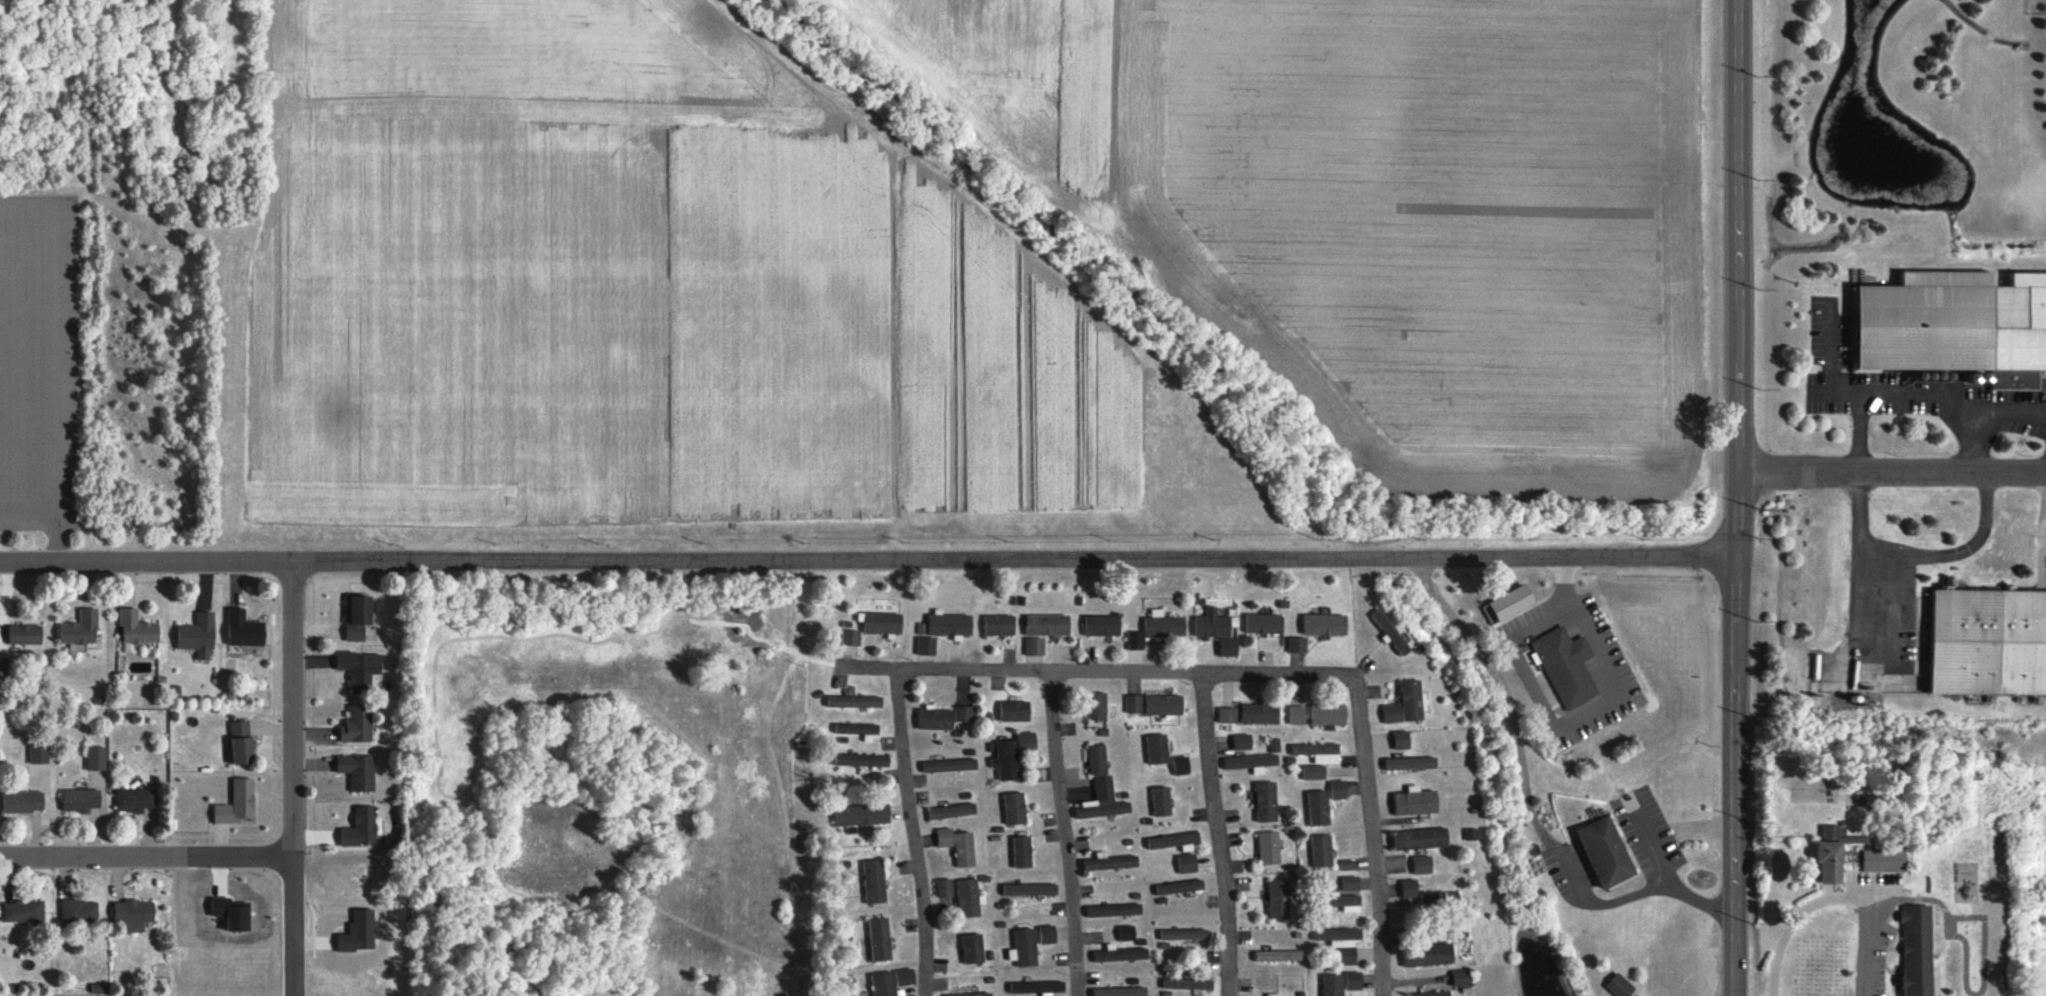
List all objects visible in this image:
building: (1952, 331)
road: (1891, 472)
road: (1737, 498)
road: (867, 560)
building: (1497, 610)
building: (359, 616)
building: (884, 622)
building: (1263, 623)
building: (951, 624)
building: (1163, 624)
building: (1326, 624)
building: (1000, 625)
building: (1048, 625)
building: (1103, 625)
building: (81, 628)
building: (246, 629)
building: (138, 630)
building: (1216, 630)
building: (1310, 630)
building: (1390, 633)
building: (27, 634)
building: (199, 635)
building: (851, 637)
building: (1135, 640)
building: (1298, 644)
building: (926, 645)
building: (1035, 646)
building: (1982, 650)
building: (1568, 665)
building: (361, 668)
road: (1131, 672)
building: (1412, 700)
building: (857, 701)
building: (1134, 703)
building: (1165, 704)
building: (1098, 705)
building: (1014, 711)
building: (964, 713)
building: (1261, 713)
building: (1393, 713)
building: (1298, 714)
building: (1329, 714)
building: (1227, 715)
building: (935, 718)
building: (359, 724)
building: (857, 728)
building: (1402, 739)
building: (1027, 740)
building: (1242, 741)
building: (244, 743)
building: (1274, 745)
building: (1158, 748)
building: (40, 754)
road: (902, 755)
road: (1371, 757)
building: (97, 758)
building: (1318, 758)
building: (1098, 759)
building: (1007, 760)
building: (866, 761)
building: (1251, 762)
building: (1412, 763)
building: (951, 764)
building: (1182, 765)
building: (360, 771)
road: (292, 779)
building: (1337, 789)
building: (82, 800)
building: (135, 800)
building: (1103, 800)
building: (25, 801)
building: (1266, 801)
building: (1417, 801)
building: (238, 803)
building: (1015, 808)
building: (1318, 808)
building: (954, 810)
building: (863, 814)
building: (362, 828)
road: (1220, 833)
building: (1471, 834)
road: (1068, 835)
building: (1421, 838)
building: (1177, 840)
building: (959, 845)
building: (1269, 847)
building: (1023, 851)
building: (1321, 851)
building: (1608, 851)
building: (1833, 854)
road: (146, 855)
building: (1881, 856)
building: (1110, 861)
building: (1188, 862)
building: (1422, 864)
building: (1348, 865)
building: (876, 881)
building: (1351, 883)
building: (1181, 886)
building: (1409, 887)
building: (944, 888)
building: (1032, 889)
road: (1883, 894)
road: (1838, 895)
building: (970, 898)
building: (1279, 899)
building: (1349, 902)
building: (1116, 909)
building: (25, 911)
building: (80, 911)
building: (233, 913)
building: (135, 914)
building: (1128, 933)
building: (1049, 934)
building: (1186, 934)
building: (881, 939)
building: (1341, 941)
building: (974, 948)
building: (1025, 948)
building: (1920, 950)
building: (1120, 954)
building: (1278, 955)
building: (1430, 955)
building: (905, 976)
building: (1462, 977)
building: (1355, 980)
building: (1188, 983)
building: (885, 984)
building: (1334, 984)
building: (1622, 986)
building: (1039, 987)
building: (1121, 991)
building: (1433, 993)
building: (972, 994)
building: (1275, 994)

